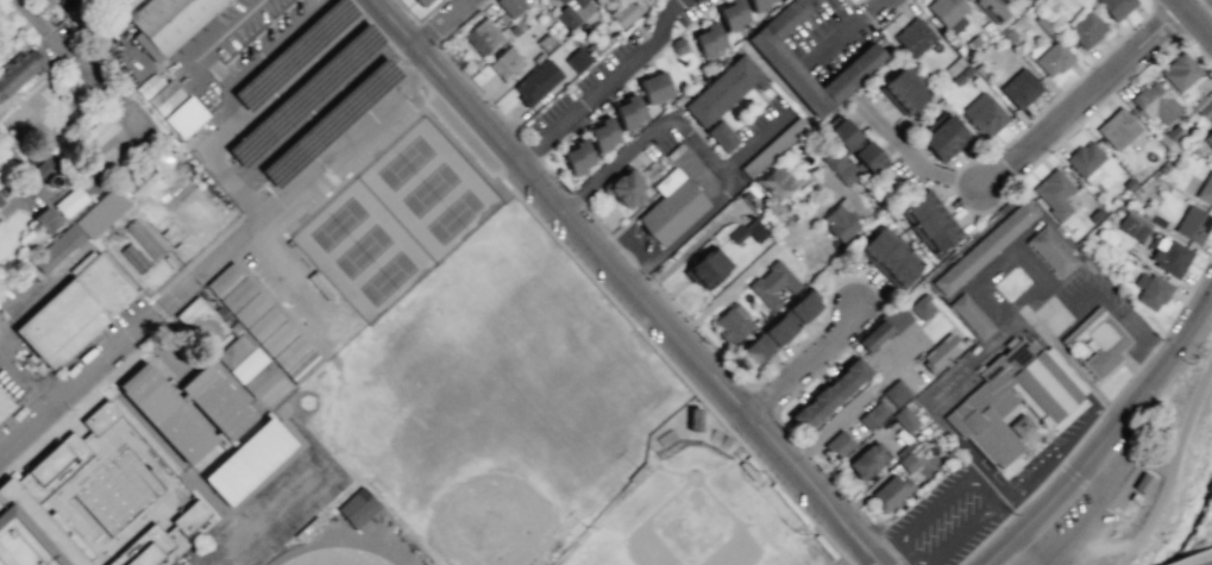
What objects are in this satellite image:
road: (858, 1)
building: (423, 2)
road: (875, 4)
building: (758, 5)
building: (511, 6)
road: (1205, 6)
building: (1116, 7)
building: (993, 10)
road: (1200, 10)
road: (404, 12)
building: (573, 12)
building: (624, 12)
road: (893, 13)
building: (948, 13)
building: (733, 14)
road: (1167, 18)
road: (1192, 21)
building: (168, 23)
road: (441, 23)
building: (1085, 29)
road: (426, 33)
road: (842, 33)
building: (482, 36)
building: (913, 37)
building: (708, 39)
building: (678, 45)
building: (1053, 58)
building: (577, 59)
building: (505, 63)
building: (1180, 71)
building: (18, 73)
building: (852, 73)
road: (1094, 81)
building: (536, 82)
road: (233, 83)
road: (604, 86)
building: (655, 87)
building: (1021, 88)
road: (276, 92)
building: (723, 92)
building: (902, 92)
building: (164, 98)
building: (1155, 102)
road: (316, 107)
building: (1202, 107)
building: (628, 111)
building: (984, 114)
building: (183, 117)
building: (1117, 128)
building: (603, 134)
building: (844, 134)
building: (722, 136)
building: (942, 137)
building: (1208, 138)
road: (752, 143)
building: (773, 146)
road: (702, 151)
building: (577, 157)
building: (867, 157)
park: (404, 162)
building: (1086, 162)
building: (44, 164)
building: (839, 165)
road: (928, 170)
building: (140, 180)
building: (775, 182)
building: (624, 188)
park: (428, 189)
building: (1205, 189)
building: (1054, 193)
building: (0, 200)
road: (247, 200)
building: (69, 201)
building: (671, 207)
road: (974, 211)
park: (452, 215)
building: (45, 219)
building: (840, 220)
building: (928, 221)
park: (337, 222)
building: (1193, 224)
building: (1132, 226)
building: (80, 228)
building: (747, 232)
building: (143, 239)
building: (984, 246)
road: (270, 249)
park: (362, 250)
building: (1050, 250)
building: (888, 257)
building: (1169, 257)
building: (133, 258)
road: (214, 259)
building: (707, 268)
park: (387, 277)
road: (591, 278)
building: (224, 280)
road: (648, 280)
building: (772, 283)
building: (320, 284)
road: (622, 285)
building: (1150, 290)
building: (237, 294)
building: (802, 307)
building: (922, 307)
building: (74, 309)
building: (971, 315)
building: (200, 321)
building: (263, 322)
building: (731, 322)
building: (884, 327)
building: (766, 340)
building: (1097, 340)
building: (940, 353)
building: (240, 357)
building: (296, 359)
road: (808, 363)
building: (259, 379)
building: (896, 391)
building: (828, 394)
building: (1017, 395)
park: (495, 397)
building: (215, 402)
building: (4, 404)
road: (68, 413)
building: (165, 413)
building: (875, 415)
road: (1094, 418)
building: (692, 419)
building: (904, 419)
building: (1021, 426)
road: (1106, 434)
building: (839, 444)
road: (1056, 450)
road: (808, 453)
building: (247, 460)
building: (867, 460)
building: (910, 463)
road: (1175, 464)
park: (324, 471)
park: (1180, 478)
building: (39, 479)
building: (1144, 482)
park: (301, 490)
building: (891, 491)
building: (357, 507)
park: (278, 510)
park: (692, 520)
crop: (1200, 526)
park: (257, 532)
building: (156, 538)
park: (233, 548)
park: (206, 557)
track: (334, 557)
road: (1192, 557)

